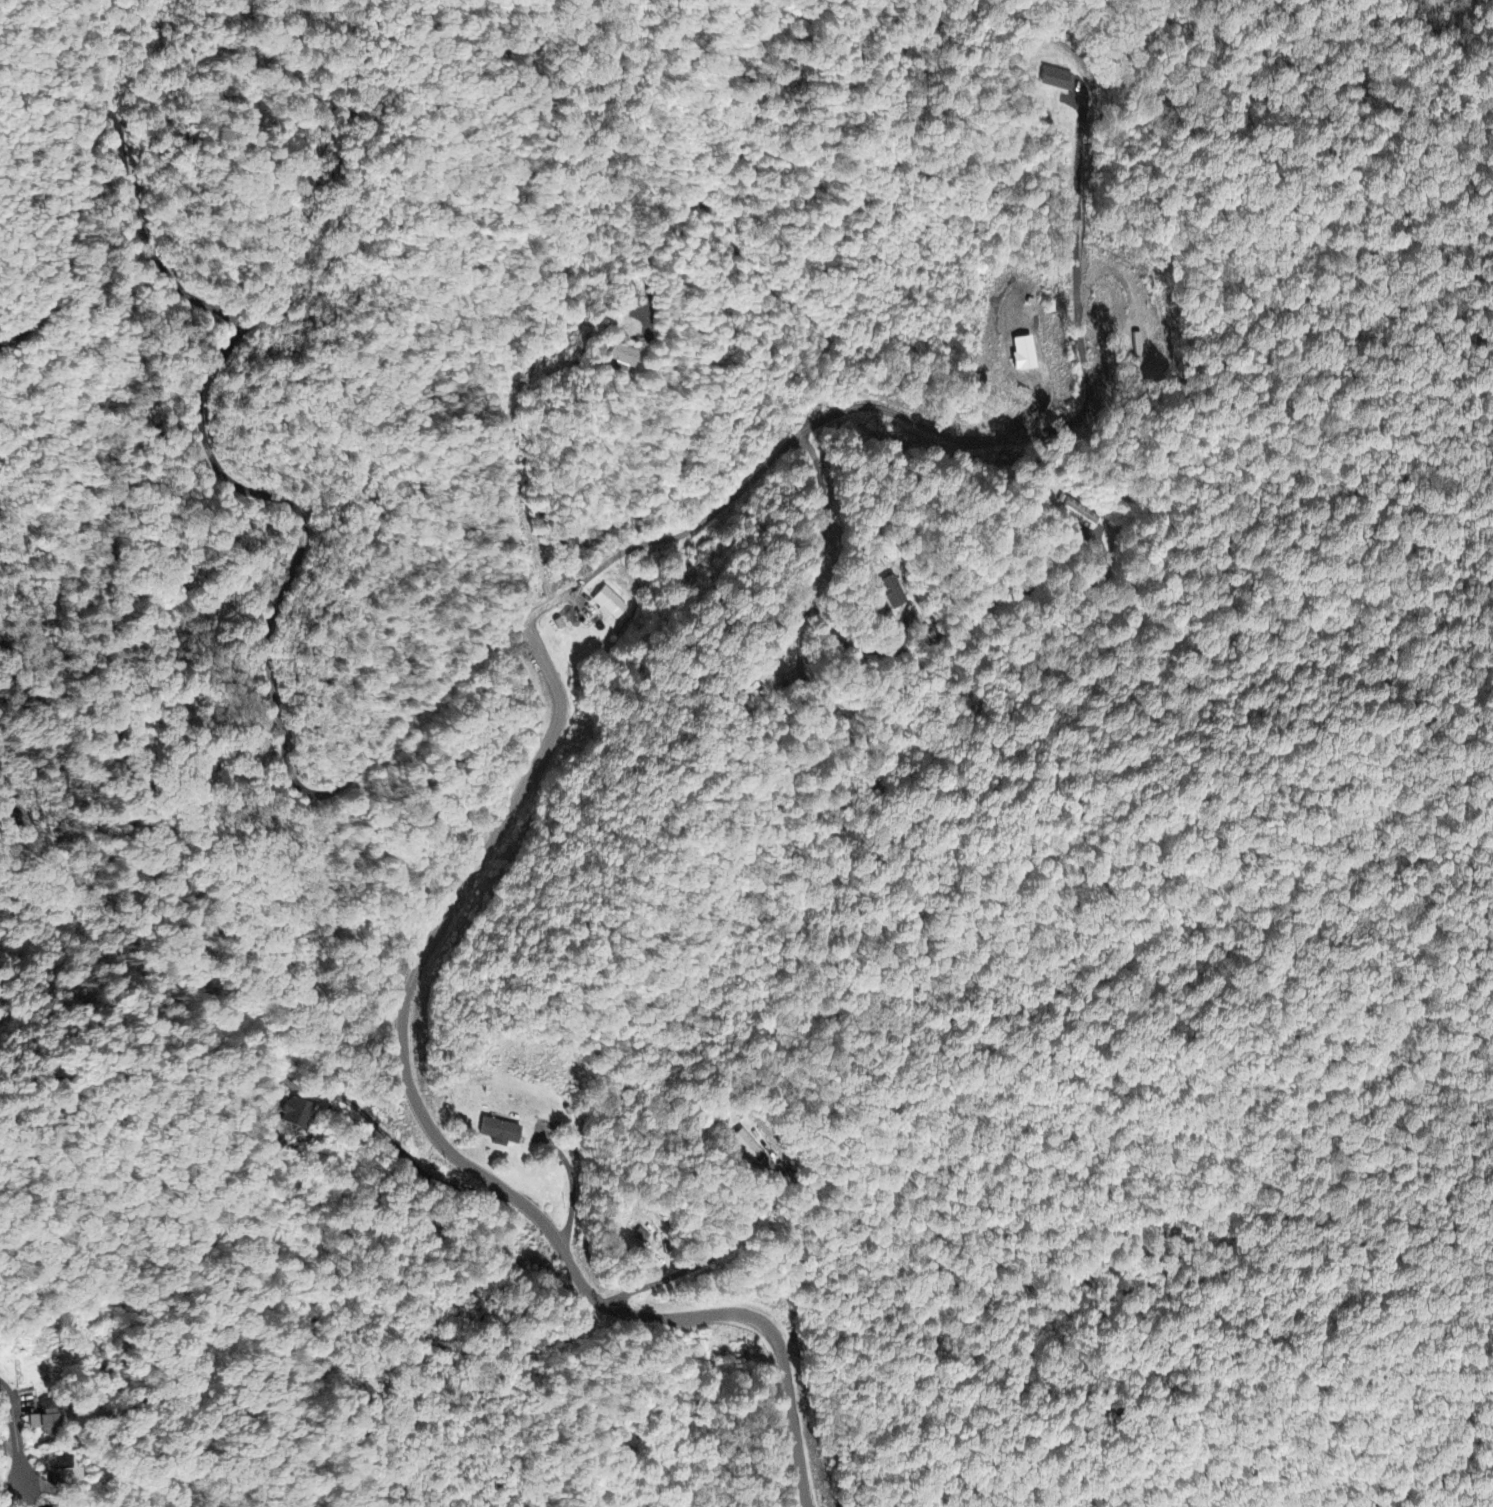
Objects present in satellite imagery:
building: (1061, 81)
building: (626, 357)
road: (771, 465)
building: (608, 600)
road: (281, 717)
building: (506, 1133)
building: (643, 1237)
road: (693, 1318)
road: (18, 1433)

